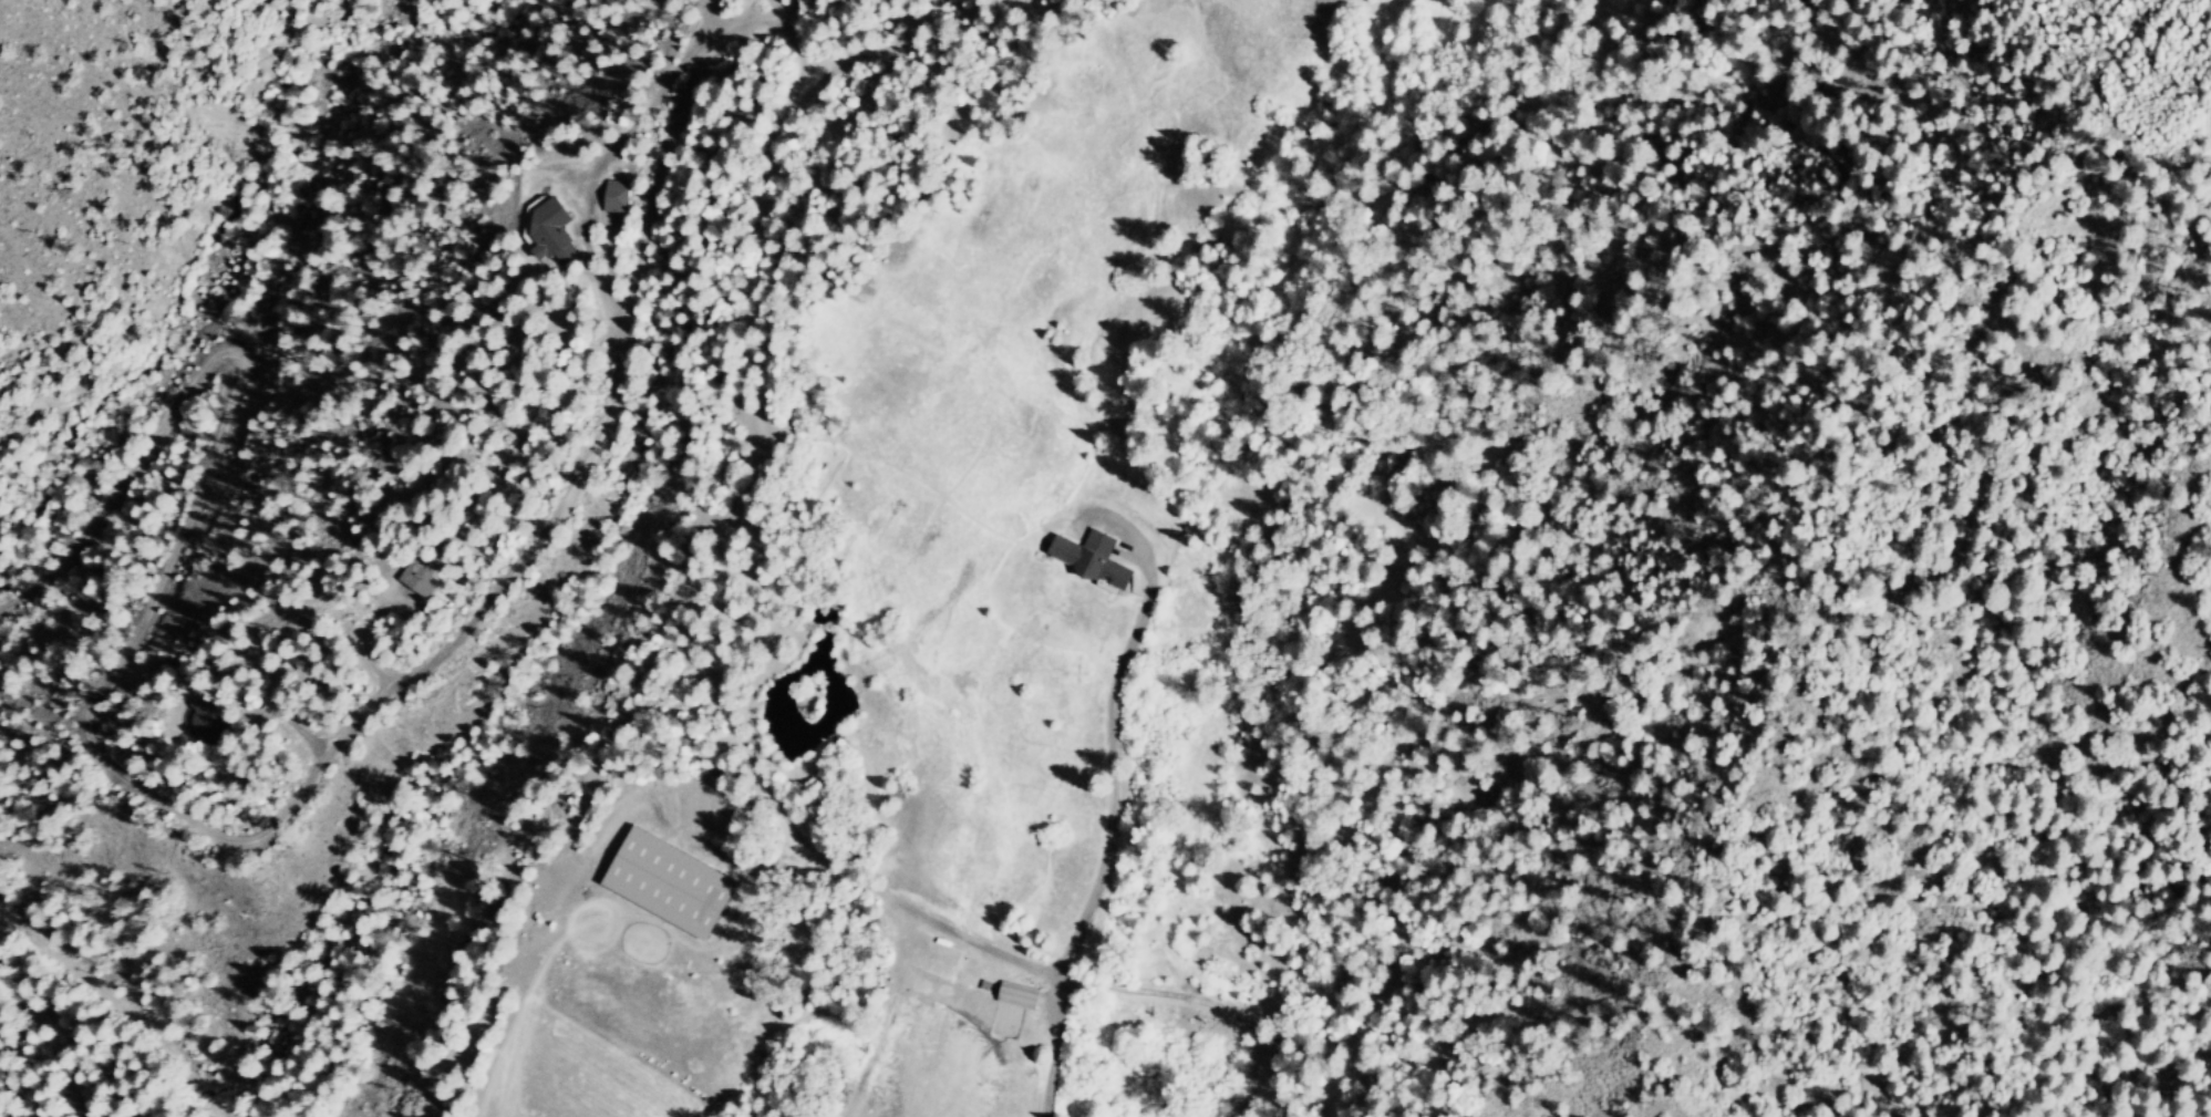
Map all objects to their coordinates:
building: (619, 197)
building: (556, 231)
building: (1085, 558)
building: (419, 585)
road: (719, 684)
road: (1113, 821)
road: (257, 832)
building: (675, 886)
road: (62, 1044)

